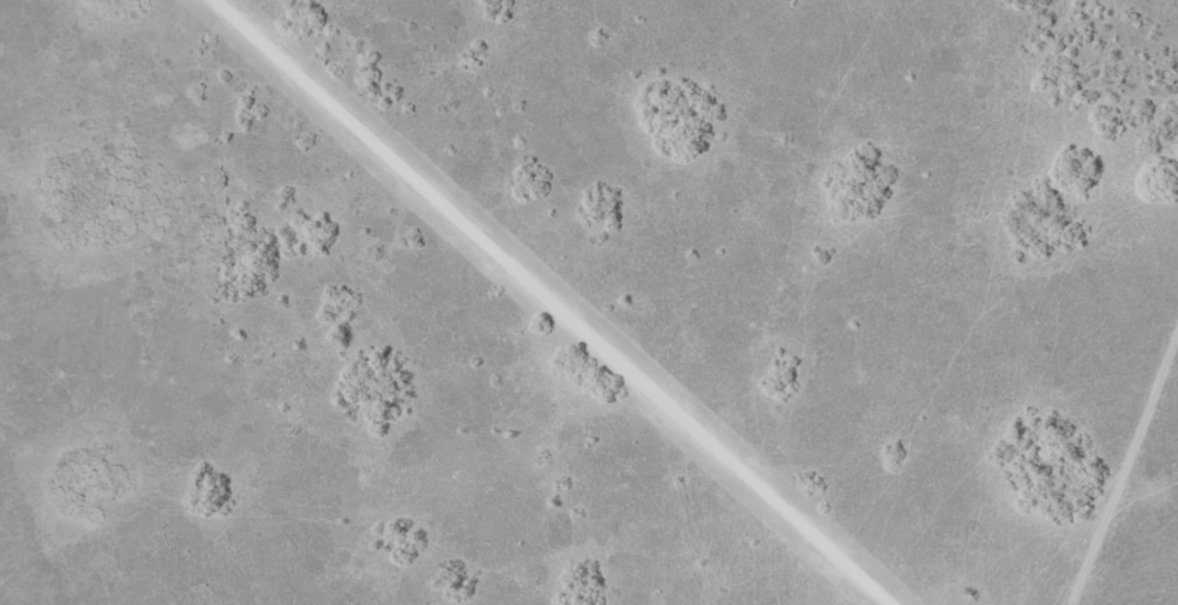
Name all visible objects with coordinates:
road: (553, 302)

